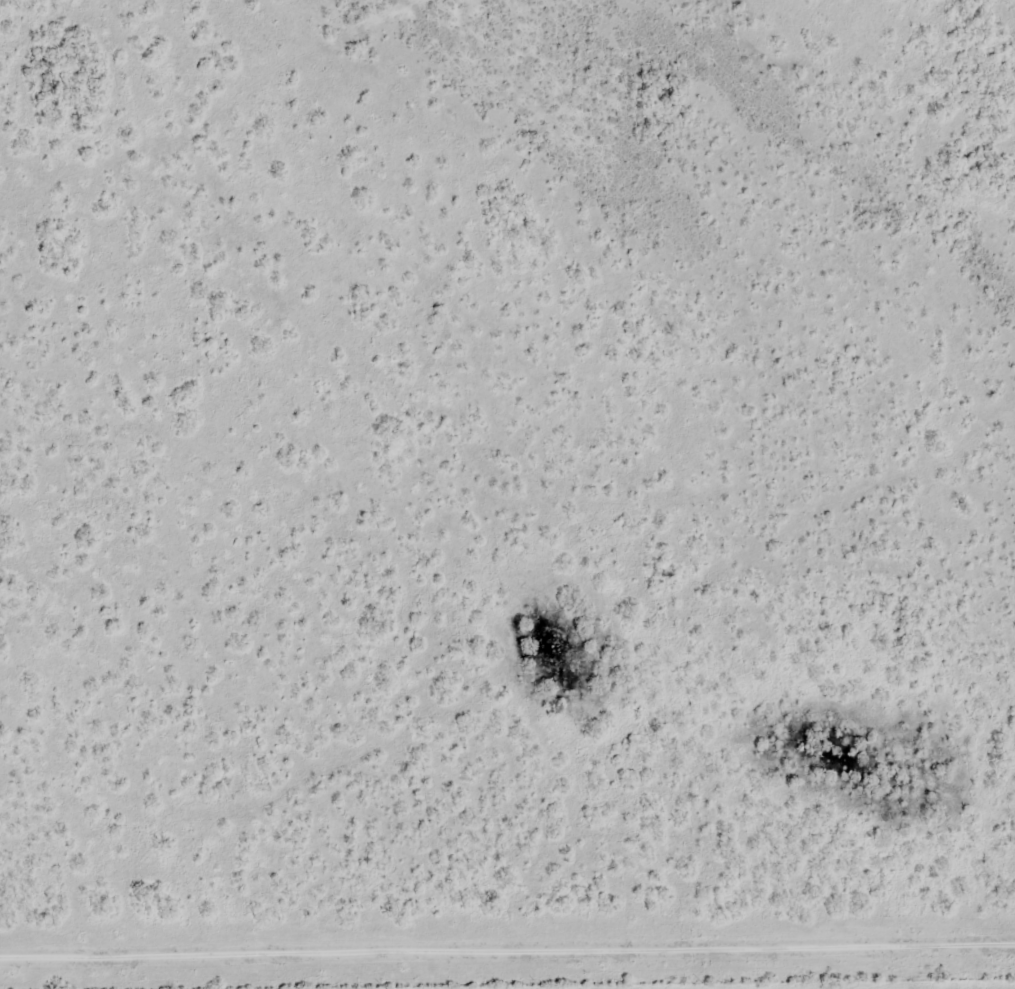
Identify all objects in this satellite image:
road: (507, 937)

